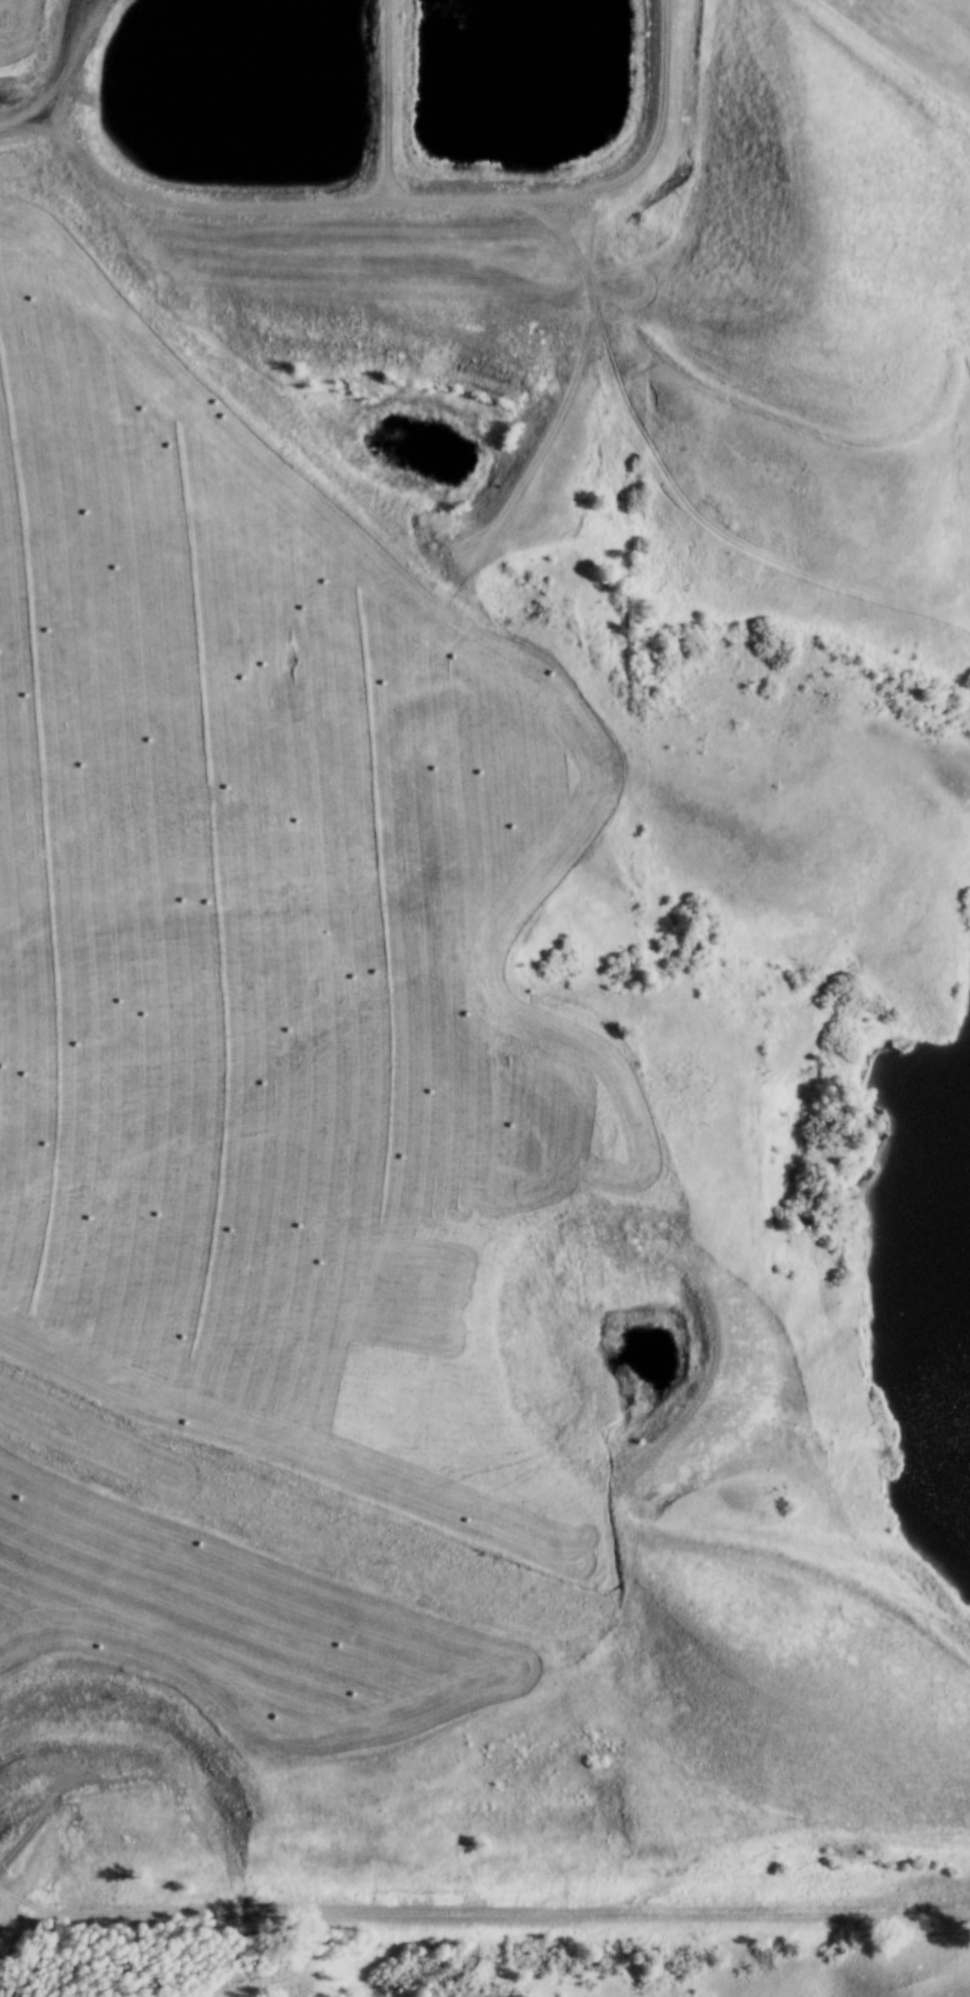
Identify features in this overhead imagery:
road: (511, 1914)

